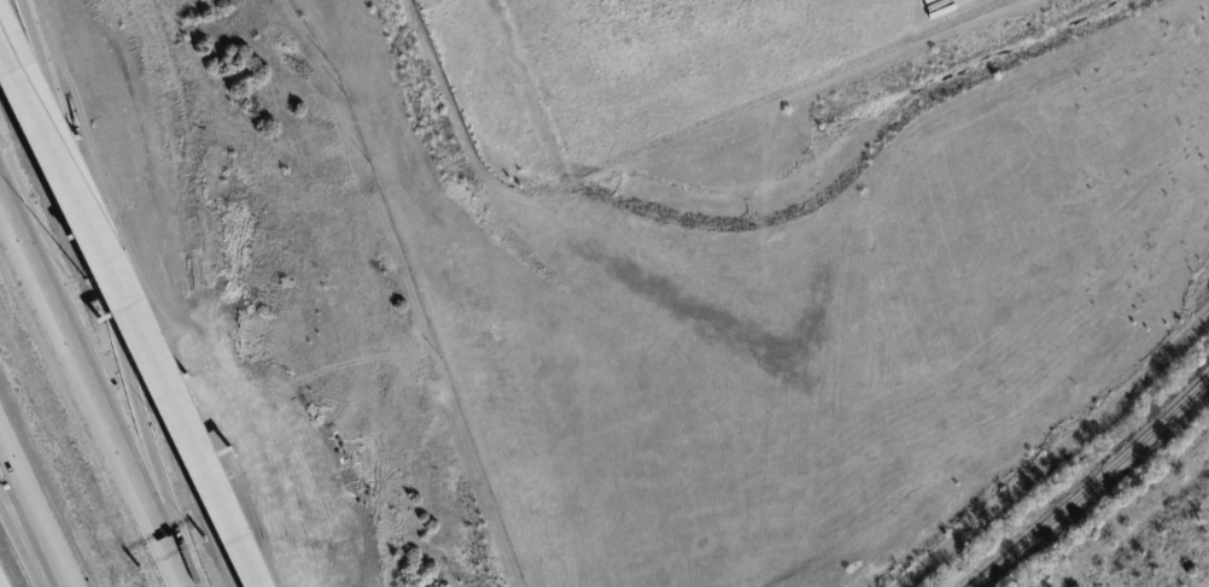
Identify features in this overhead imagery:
road: (106, 292)
road: (128, 316)
road: (93, 391)
railway: (1094, 488)
road: (28, 524)
road: (24, 544)

